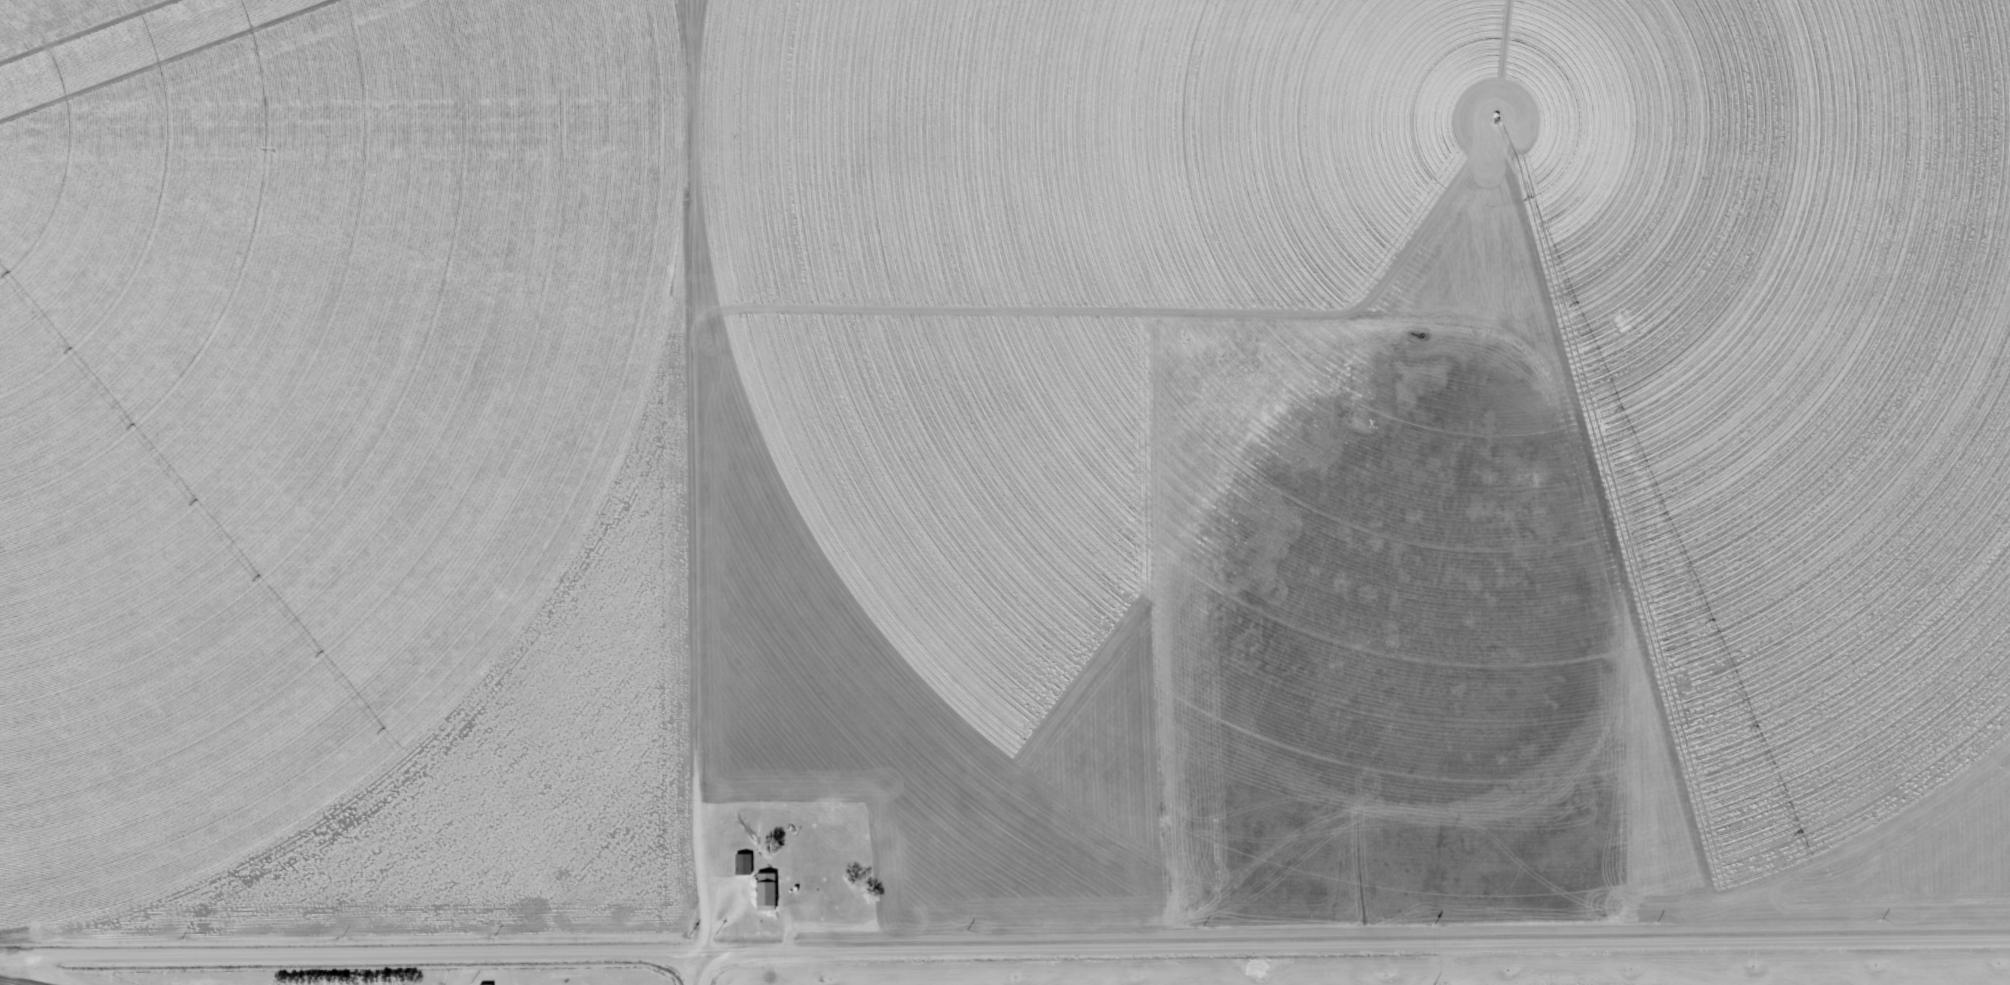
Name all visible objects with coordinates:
road: (690, 477)
building: (742, 864)
building: (764, 891)
road: (1004, 951)
road: (697, 969)

